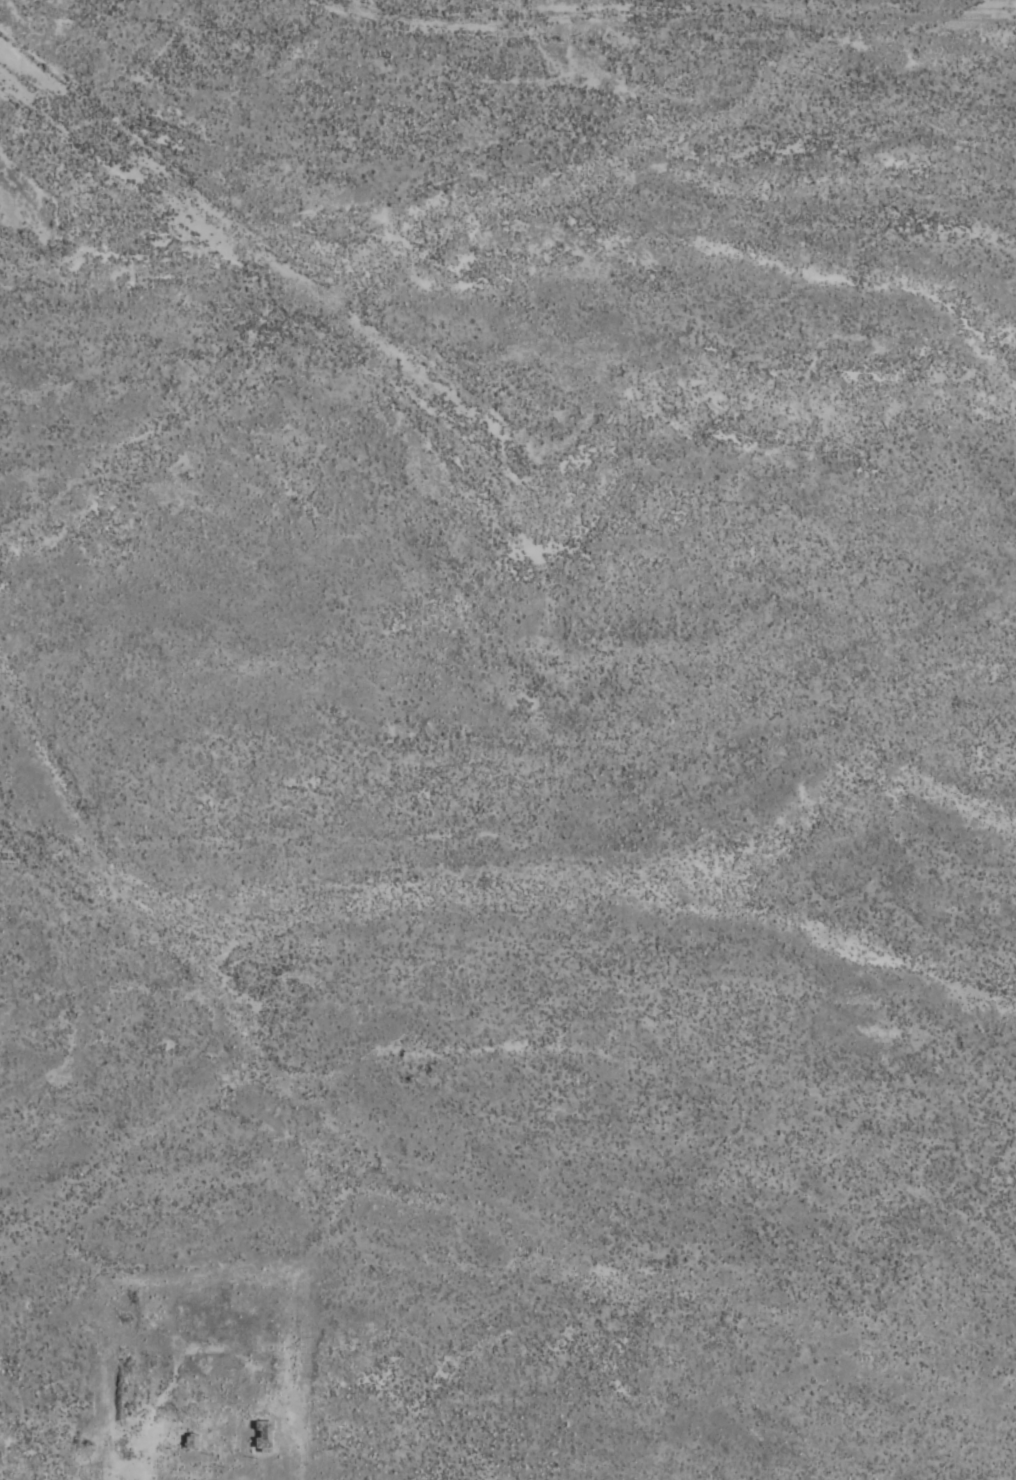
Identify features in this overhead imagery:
building: (263, 1436)
building: (190, 1440)

